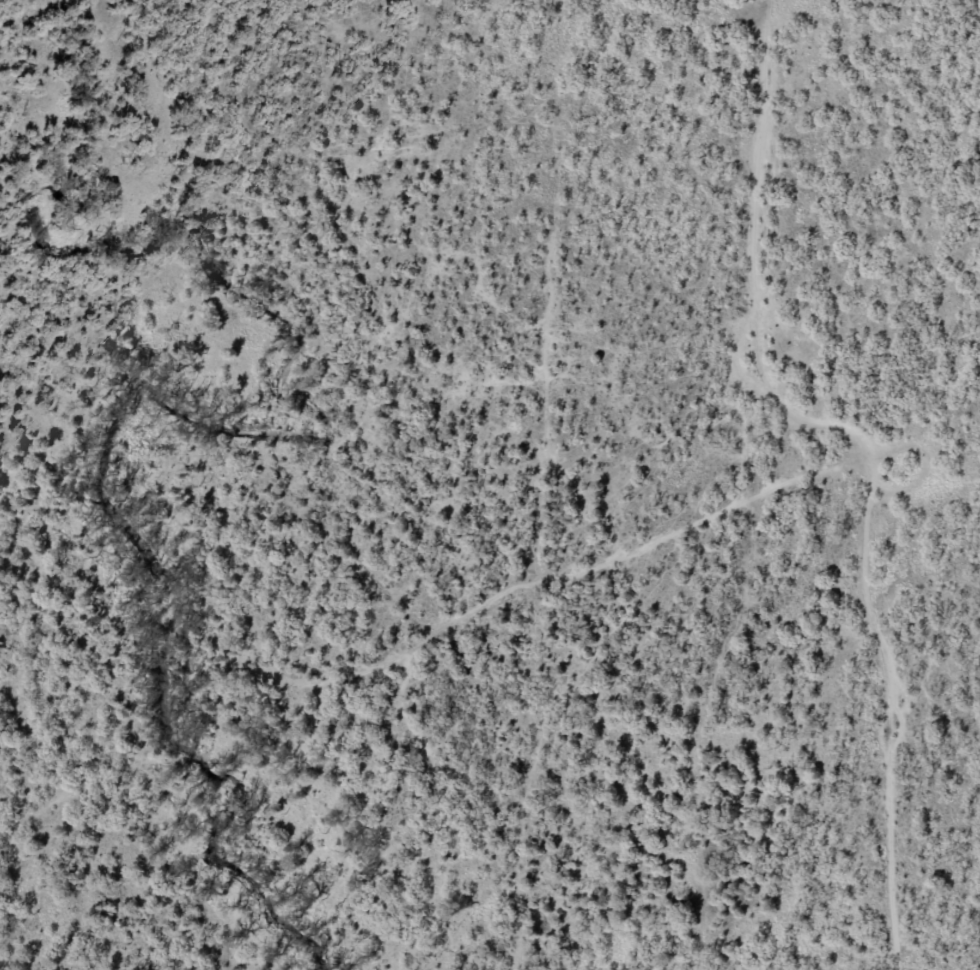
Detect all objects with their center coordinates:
road: (788, 496)

